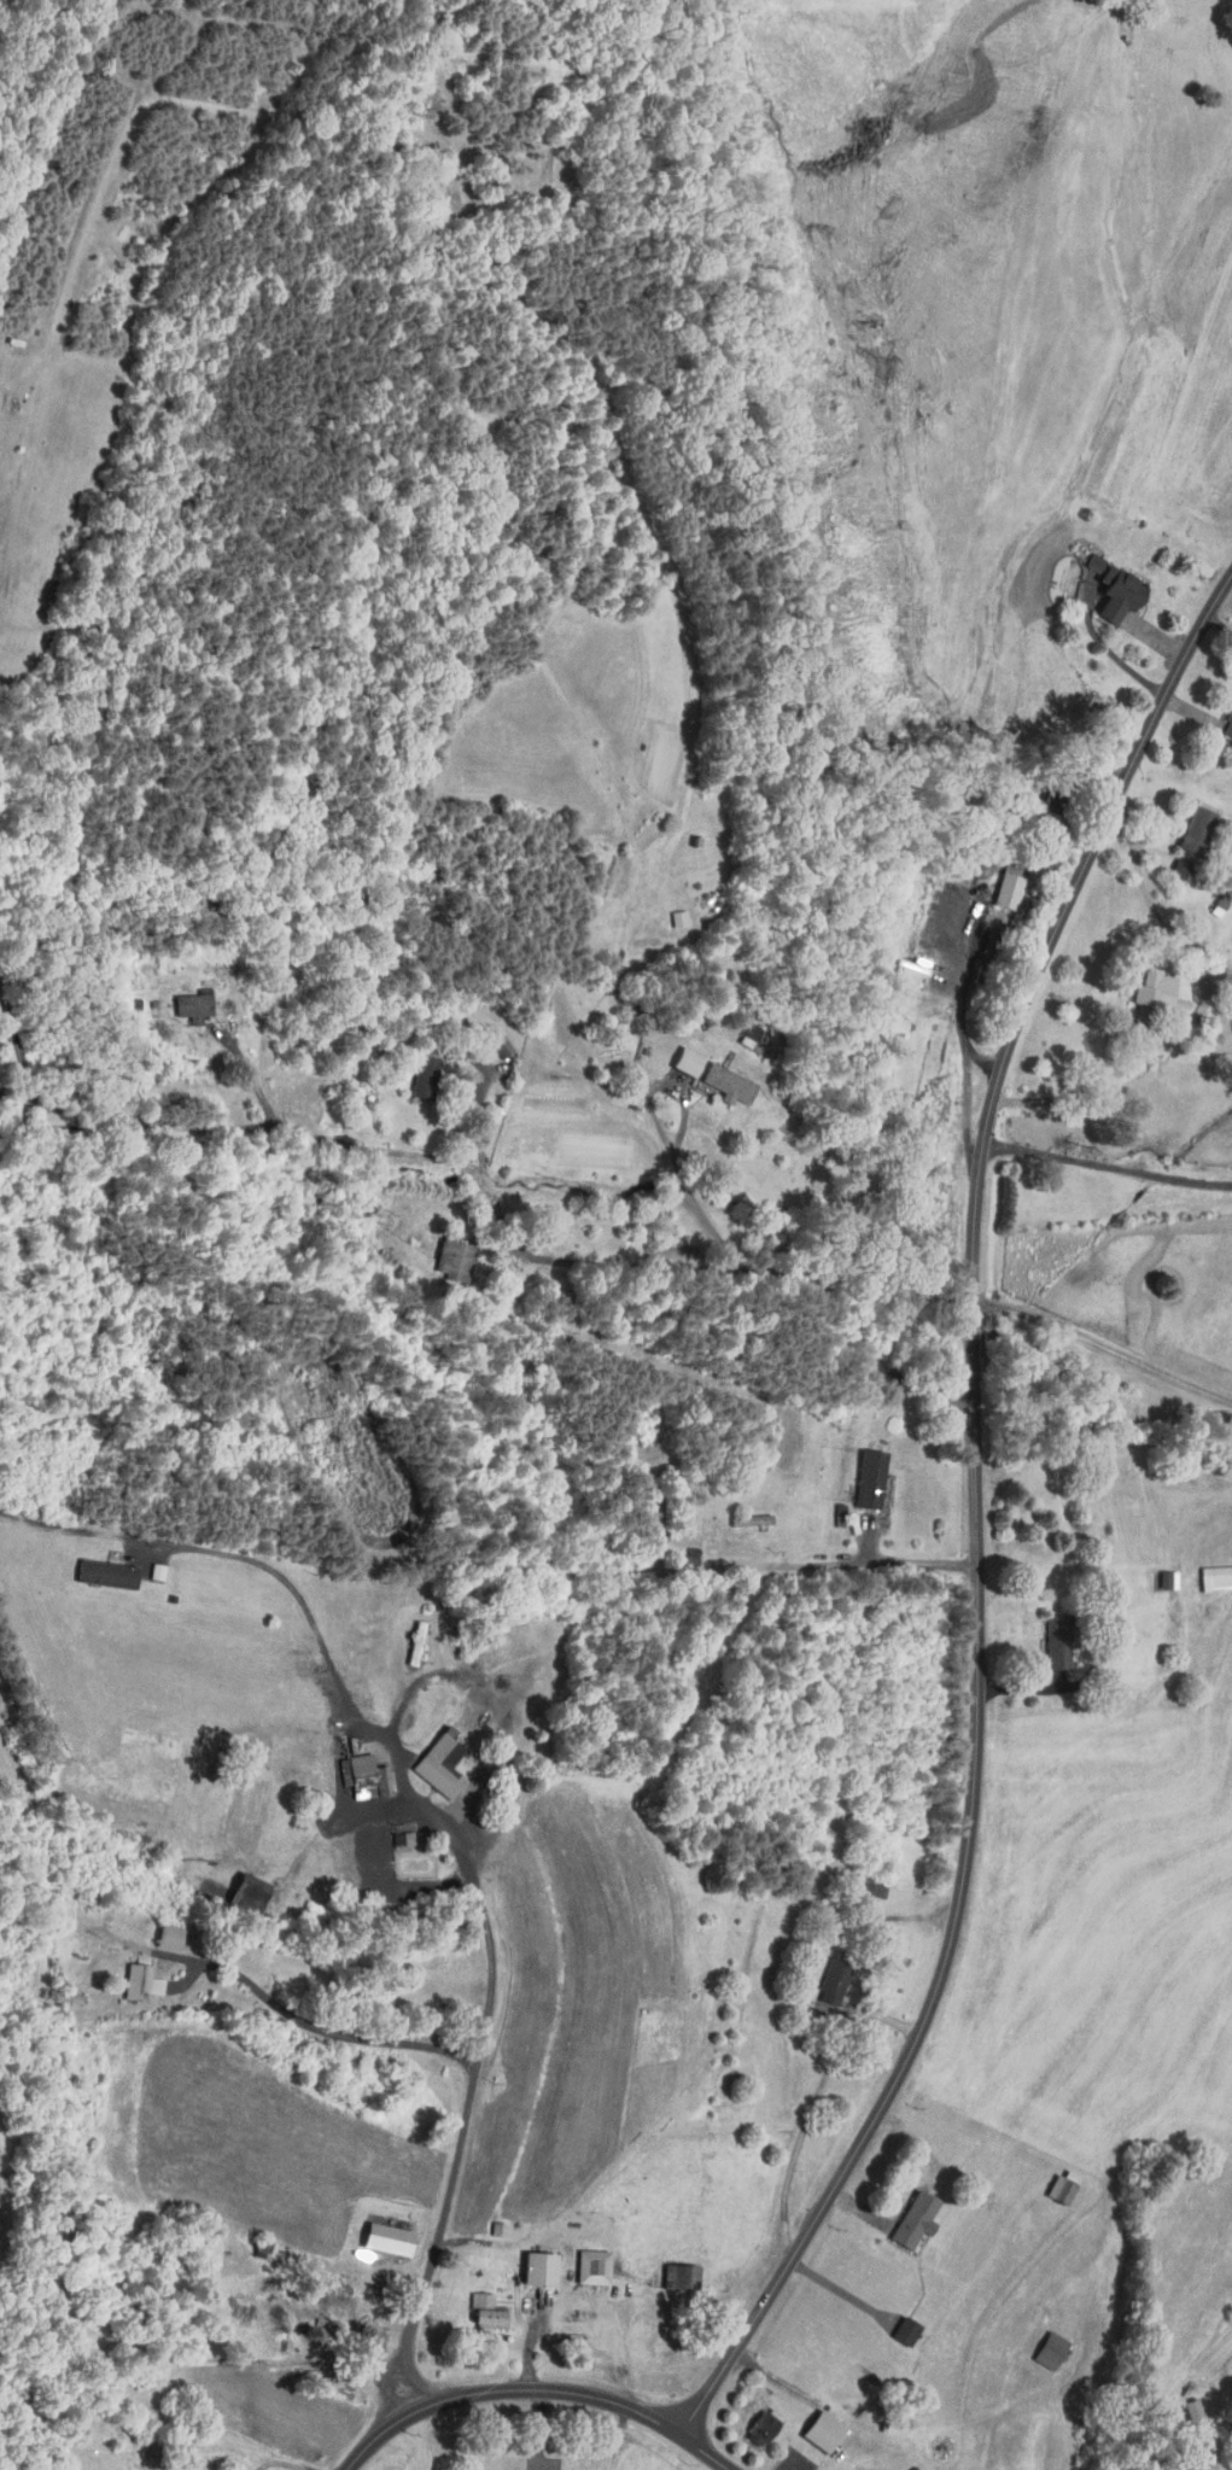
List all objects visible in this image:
road: (433, 106)
building: (1052, 572)
building: (1104, 584)
road: (1218, 626)
road: (1109, 650)
building: (1224, 714)
building: (1184, 825)
building: (1169, 863)
building: (997, 884)
building: (667, 912)
building: (897, 969)
road: (1221, 982)
building: (1146, 986)
building: (182, 998)
road: (1199, 1011)
road: (964, 1033)
building: (490, 1039)
building: (676, 1053)
road: (982, 1061)
building: (411, 1069)
road: (250, 1075)
building: (717, 1076)
road: (478, 1106)
road: (664, 1132)
road: (1108, 1167)
road: (479, 1179)
building: (443, 1252)
road: (1103, 1349)
building: (858, 1471)
road: (976, 1516)
road: (240, 1558)
road: (808, 1565)
building: (94, 1566)
building: (1207, 1571)
building: (1156, 1572)
building: (1046, 1635)
building: (438, 1747)
building: (426, 1762)
building: (356, 1770)
road: (374, 1815)
building: (237, 1886)
building: (157, 1929)
building: (822, 1974)
building: (129, 1975)
road: (489, 1991)
road: (328, 2031)
building: (1050, 2183)
building: (901, 2212)
building: (375, 2232)
building: (580, 2260)
building: (527, 2261)
building: (668, 2270)
building: (475, 2305)
building: (894, 2324)
building: (1039, 2345)
road: (537, 2389)
building: (1183, 2408)
building: (752, 2419)
building: (811, 2424)
building: (856, 2468)

